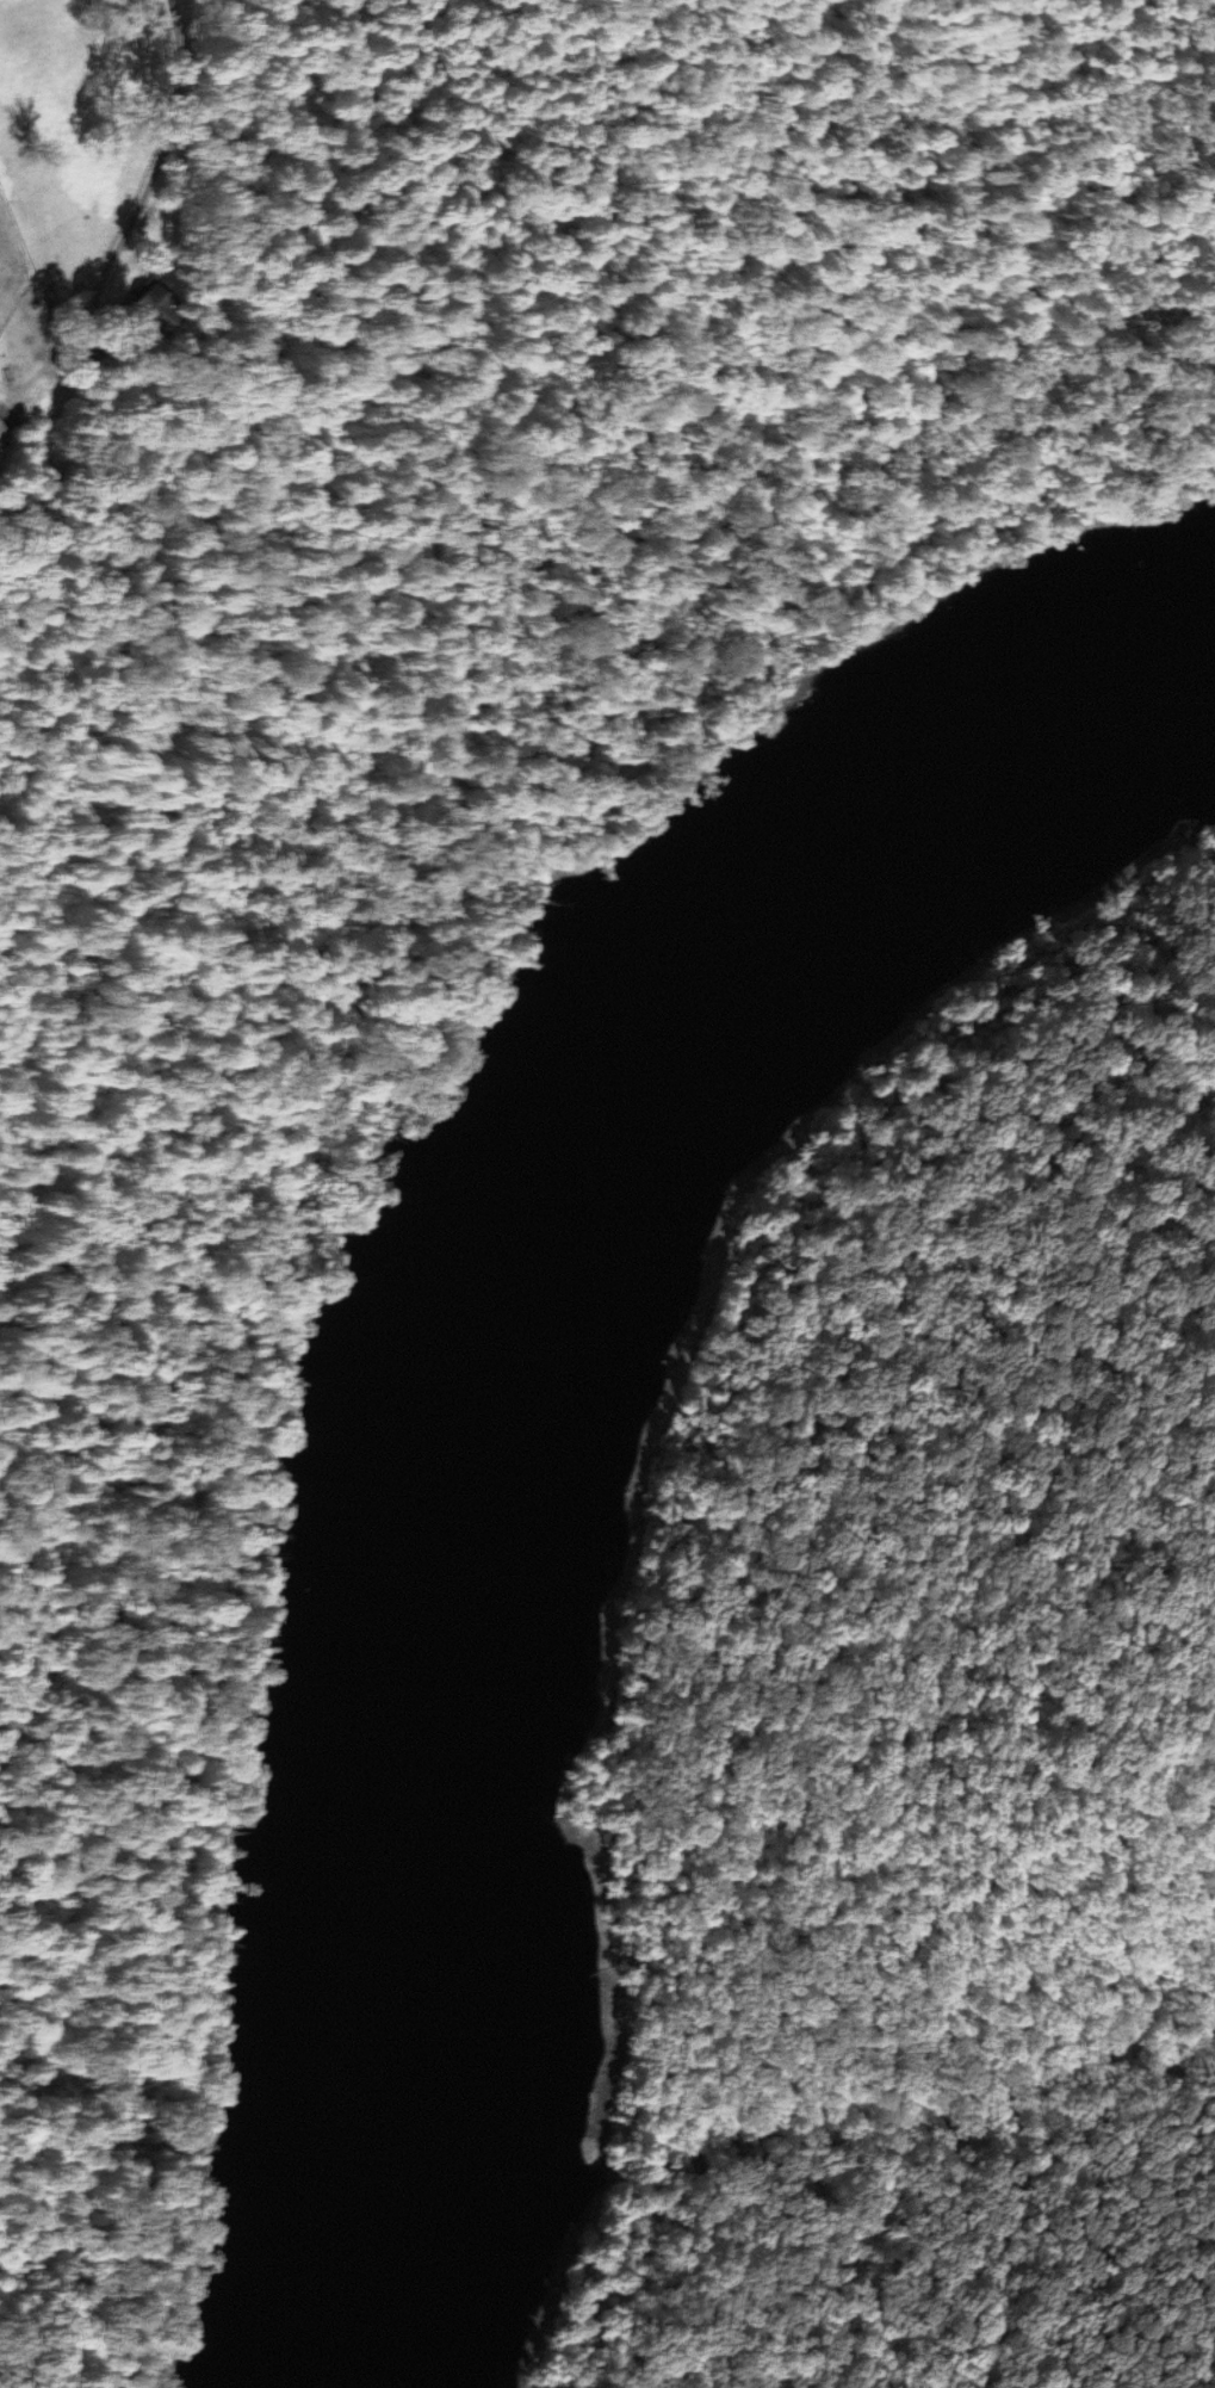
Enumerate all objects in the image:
road: (144, 180)
road: (41, 427)
building: (1, 439)
building: (1081, 556)
river: (479, 1348)

